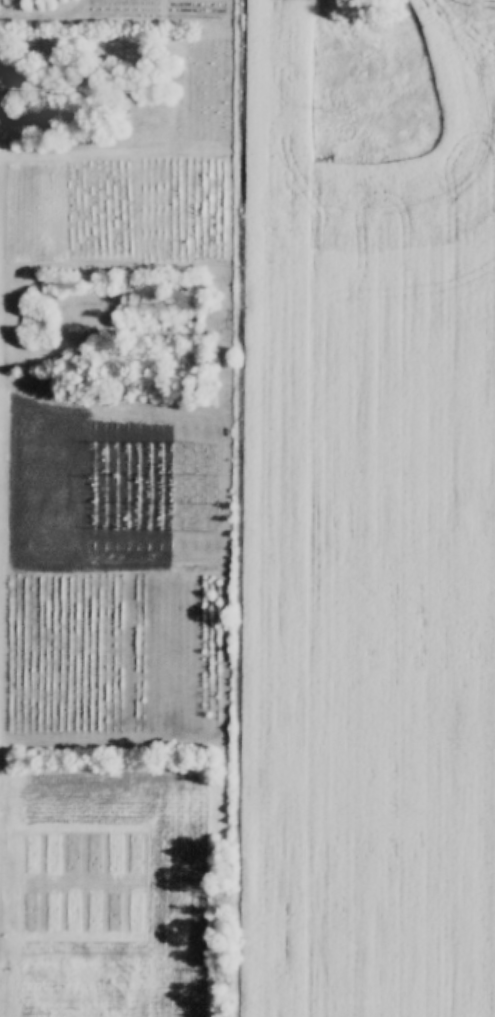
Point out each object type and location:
road: (229, 494)

